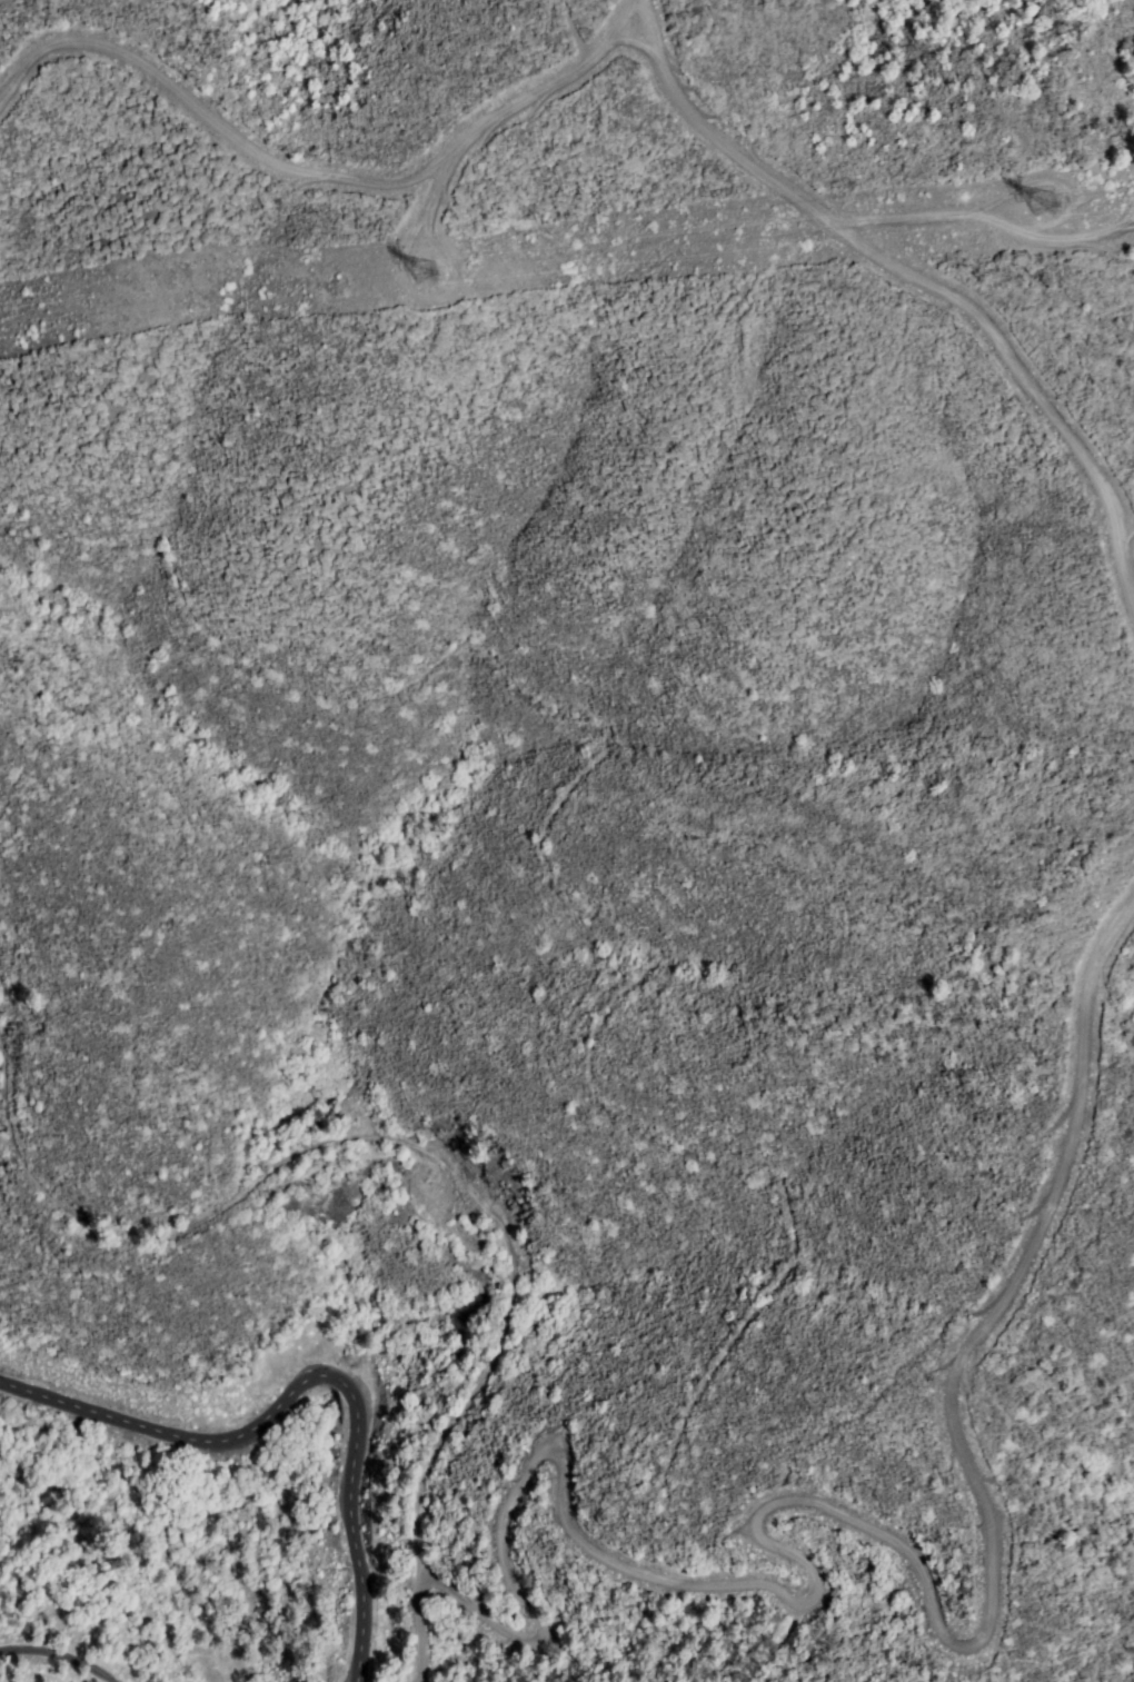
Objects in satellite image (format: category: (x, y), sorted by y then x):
road: (621, 24)
road: (315, 179)
power tower: (1034, 206)
road: (907, 270)
power tower: (426, 273)
road: (381, 1138)
road: (310, 1383)
road: (881, 1544)
road: (414, 1631)
road: (53, 1658)

